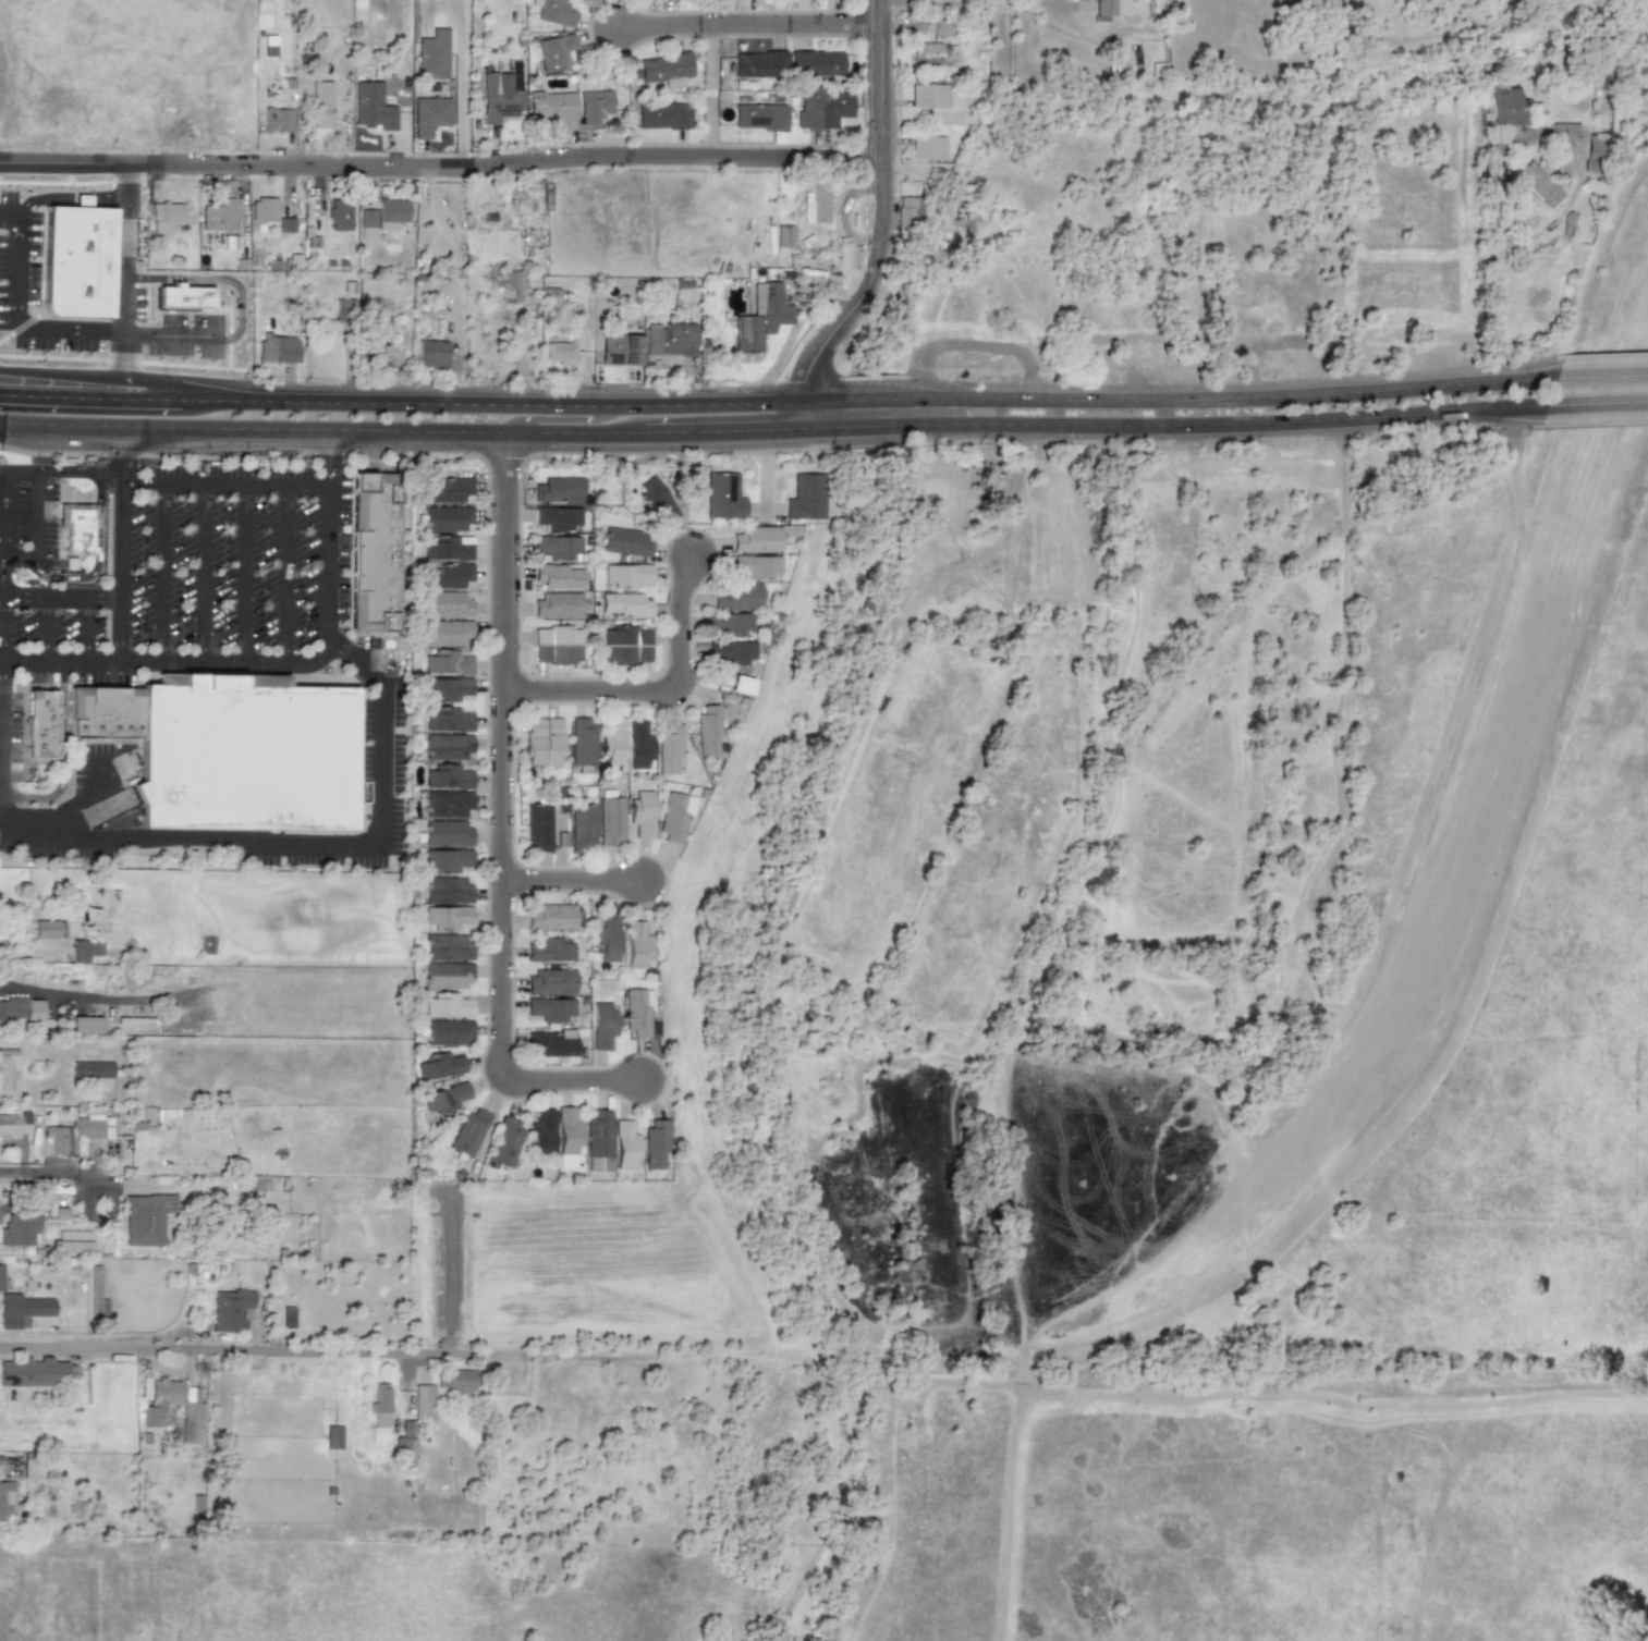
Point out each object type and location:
road: (997, 1)
building: (1103, 7)
building: (553, 12)
road: (748, 26)
building: (942, 26)
building: (552, 51)
building: (933, 52)
building: (431, 54)
building: (814, 63)
building: (758, 64)
road: (459, 69)
building: (664, 69)
road: (708, 94)
building: (929, 95)
building: (498, 98)
building: (319, 103)
building: (1499, 105)
building: (371, 106)
building: (551, 107)
building: (593, 107)
building: (821, 107)
building: (428, 114)
building: (661, 115)
building: (758, 117)
building: (277, 120)
building: (1563, 132)
building: (927, 147)
building: (1594, 148)
road: (441, 171)
road: (70, 182)
building: (1538, 183)
building: (1596, 185)
road: (64, 197)
building: (816, 203)
building: (263, 208)
building: (908, 210)
building: (221, 215)
building: (340, 215)
building: (167, 216)
building: (381, 217)
road: (9, 222)
building: (285, 224)
road: (880, 225)
building: (783, 236)
building: (77, 261)
parking lot: (19, 267)
road: (216, 279)
building: (510, 284)
building: (550, 294)
road: (40, 295)
building: (183, 296)
road: (124, 297)
building: (343, 309)
road: (195, 311)
building: (761, 316)
road: (16, 318)
road: (20, 326)
road: (123, 332)
road: (179, 335)
parking lot: (185, 336)
building: (669, 339)
parking lot: (57, 342)
building: (283, 348)
building: (620, 348)
building: (369, 352)
building: (559, 352)
building: (431, 353)
road: (123, 360)
road: (1601, 377)
road: (72, 396)
road: (162, 400)
road: (867, 400)
road: (1223, 400)
road: (823, 401)
road: (1598, 402)
road: (492, 403)
road: (554, 415)
road: (1218, 424)
road: (864, 425)
road: (822, 426)
road: (321, 429)
road: (724, 429)
road: (121, 446)
road: (321, 456)
road: (221, 483)
building: (560, 489)
building: (444, 490)
building: (722, 495)
building: (804, 497)
building: (656, 500)
road: (4, 509)
building: (448, 517)
building: (558, 517)
parking lot: (28, 519)
building: (77, 527)
road: (37, 531)
building: (756, 539)
building: (626, 541)
building: (359, 546)
building: (448, 548)
road: (354, 549)
road: (97, 555)
building: (378, 555)
parking lot: (236, 559)
road: (118, 565)
building: (756, 565)
road: (107, 572)
road: (162, 572)
road: (205, 572)
road: (244, 572)
road: (290, 573)
building: (626, 574)
building: (447, 576)
building: (559, 576)
road: (60, 596)
building: (735, 596)
building: (445, 603)
building: (625, 604)
building: (558, 605)
building: (727, 622)
road: (1355, 627)
road: (42, 628)
road: (88, 629)
building: (626, 645)
building: (731, 651)
road: (501, 654)
road: (342, 656)
road: (246, 661)
building: (447, 662)
road: (0, 675)
building: (219, 678)
road: (166, 679)
building: (740, 684)
building: (447, 688)
road: (656, 693)
building: (72, 707)
building: (106, 717)
building: (447, 719)
building: (40, 724)
building: (707, 730)
parking lot: (10, 732)
road: (23, 737)
building: (542, 740)
building: (582, 742)
building: (612, 742)
building: (638, 745)
building: (445, 746)
building: (668, 747)
road: (60, 756)
building: (246, 757)
building: (447, 776)
road: (81, 798)
building: (447, 804)
building: (640, 812)
building: (673, 816)
building: (610, 820)
building: (538, 826)
building: (583, 828)
building: (445, 833)
building: (561, 838)
road: (301, 841)
building: (447, 859)
road: (573, 880)
building: (447, 890)
road: (1076, 905)
building: (447, 916)
building: (552, 916)
building: (48, 929)
building: (606, 938)
building: (635, 944)
building: (448, 946)
building: (85, 948)
building: (549, 950)
building: (447, 975)
building: (550, 981)
road: (98, 996)
building: (447, 1005)
building: (550, 1008)
building: (20, 1009)
building: (636, 1012)
road: (511, 1021)
building: (85, 1024)
building: (601, 1025)
building: (447, 1031)
building: (550, 1042)
road: (496, 1055)
building: (439, 1065)
building: (91, 1069)
building: (9, 1074)
crop: (1333, 1089)
building: (443, 1098)
building: (12, 1123)
building: (91, 1126)
building: (566, 1130)
building: (467, 1131)
building: (539, 1131)
building: (56, 1139)
building: (596, 1140)
building: (505, 1142)
building: (652, 1142)
building: (622, 1143)
road: (50, 1171)
building: (60, 1209)
building: (145, 1217)
building: (17, 1228)
building: (70, 1246)
road: (738, 1252)
building: (1, 1276)
building: (95, 1294)
building: (22, 1309)
building: (230, 1309)
road: (337, 1349)
road: (845, 1366)
building: (33, 1372)
building: (455, 1381)
road: (1331, 1387)
building: (158, 1399)
building: (423, 1399)
building: (379, 1411)
building: (332, 1436)
building: (403, 1446)
building: (5, 1498)

